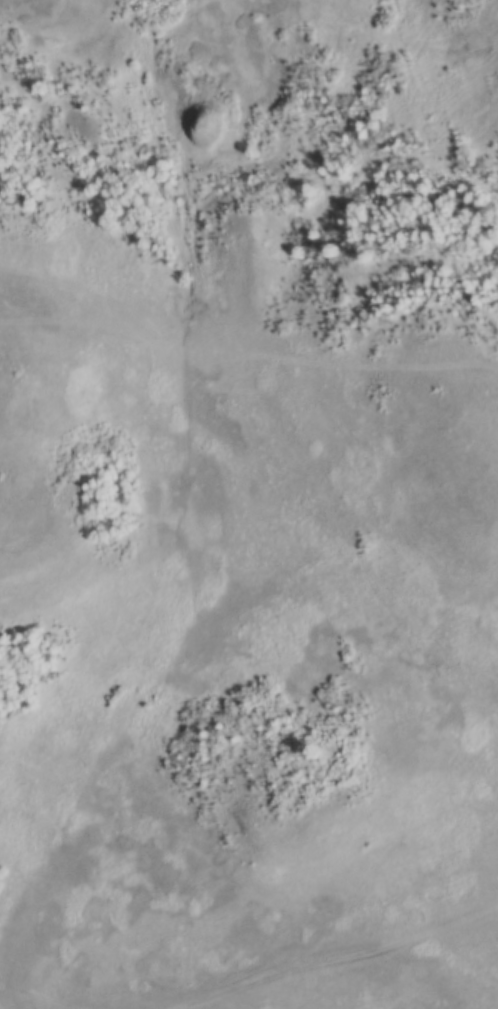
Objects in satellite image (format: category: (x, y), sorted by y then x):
road: (325, 951)
road: (33, 993)

